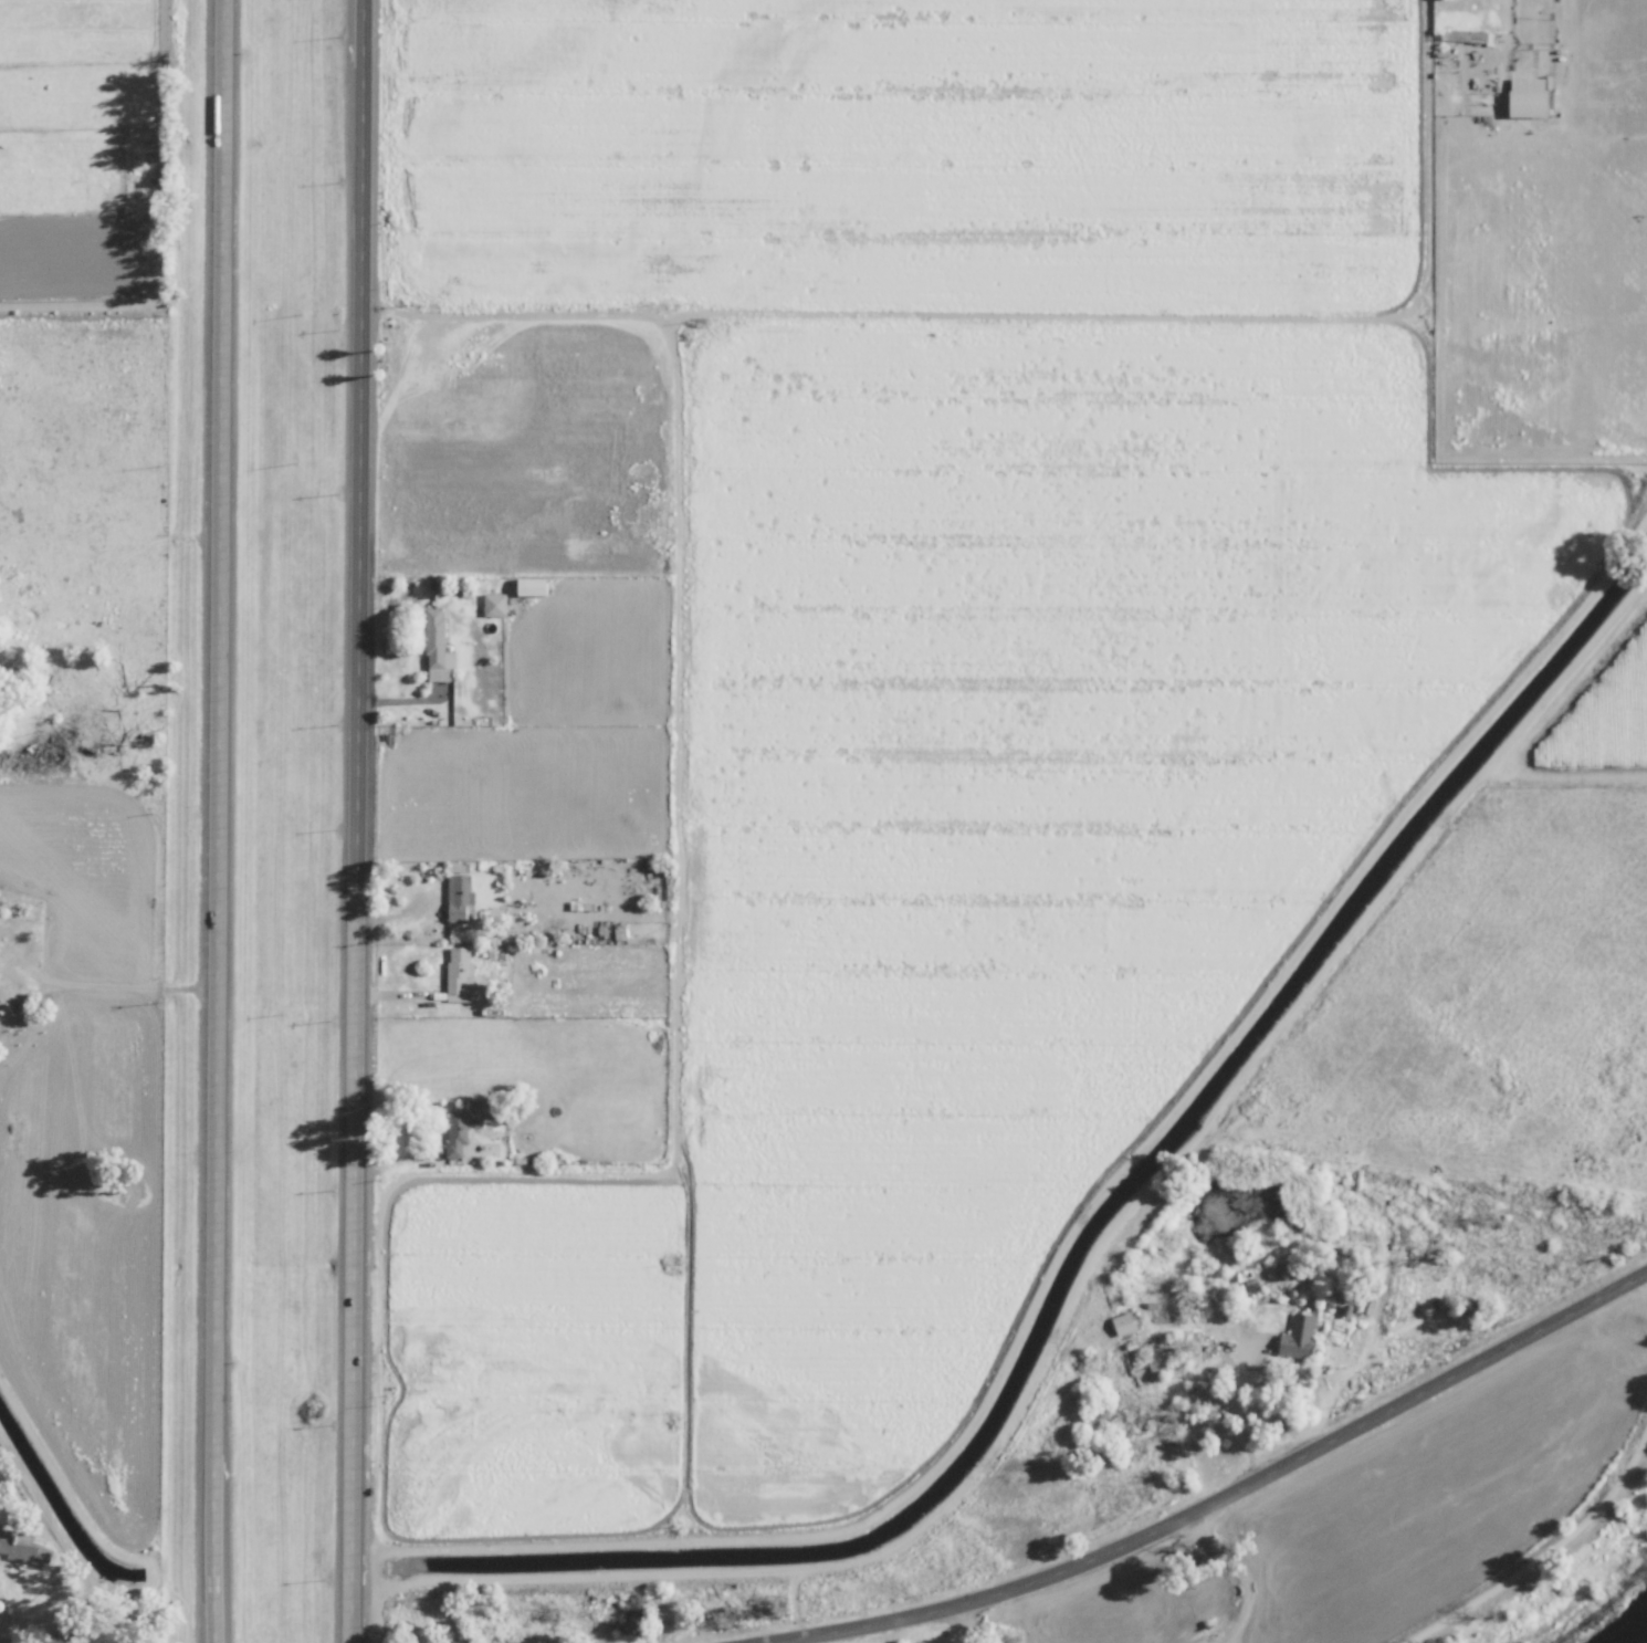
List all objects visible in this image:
building: (1529, 97)
crop: (78, 107)
road: (165, 222)
building: (533, 587)
building: (494, 605)
building: (437, 648)
crop: (1018, 703)
road: (217, 820)
road: (356, 820)
building: (459, 896)
building: (459, 975)
road: (120, 986)
building: (460, 1130)
building: (1123, 1323)
building: (1299, 1337)
road: (1239, 1411)
road: (1218, 1498)
building: (21, 1548)
road: (1545, 1550)
road: (1240, 1576)
road: (964, 1622)
river: (1629, 1626)

